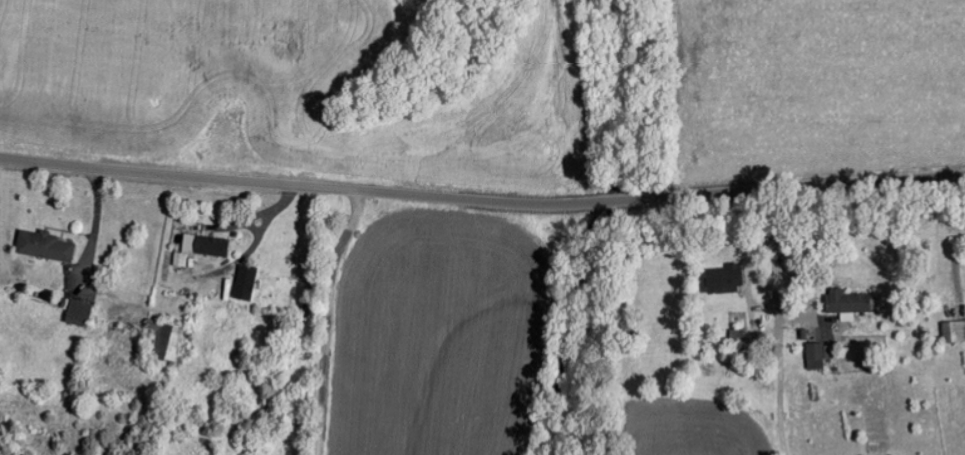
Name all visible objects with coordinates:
road: (482, 201)
building: (41, 245)
building: (198, 247)
building: (721, 278)
building: (244, 282)
building: (844, 303)
building: (75, 311)
road: (329, 320)
building: (952, 331)
building: (164, 340)
building: (813, 355)

